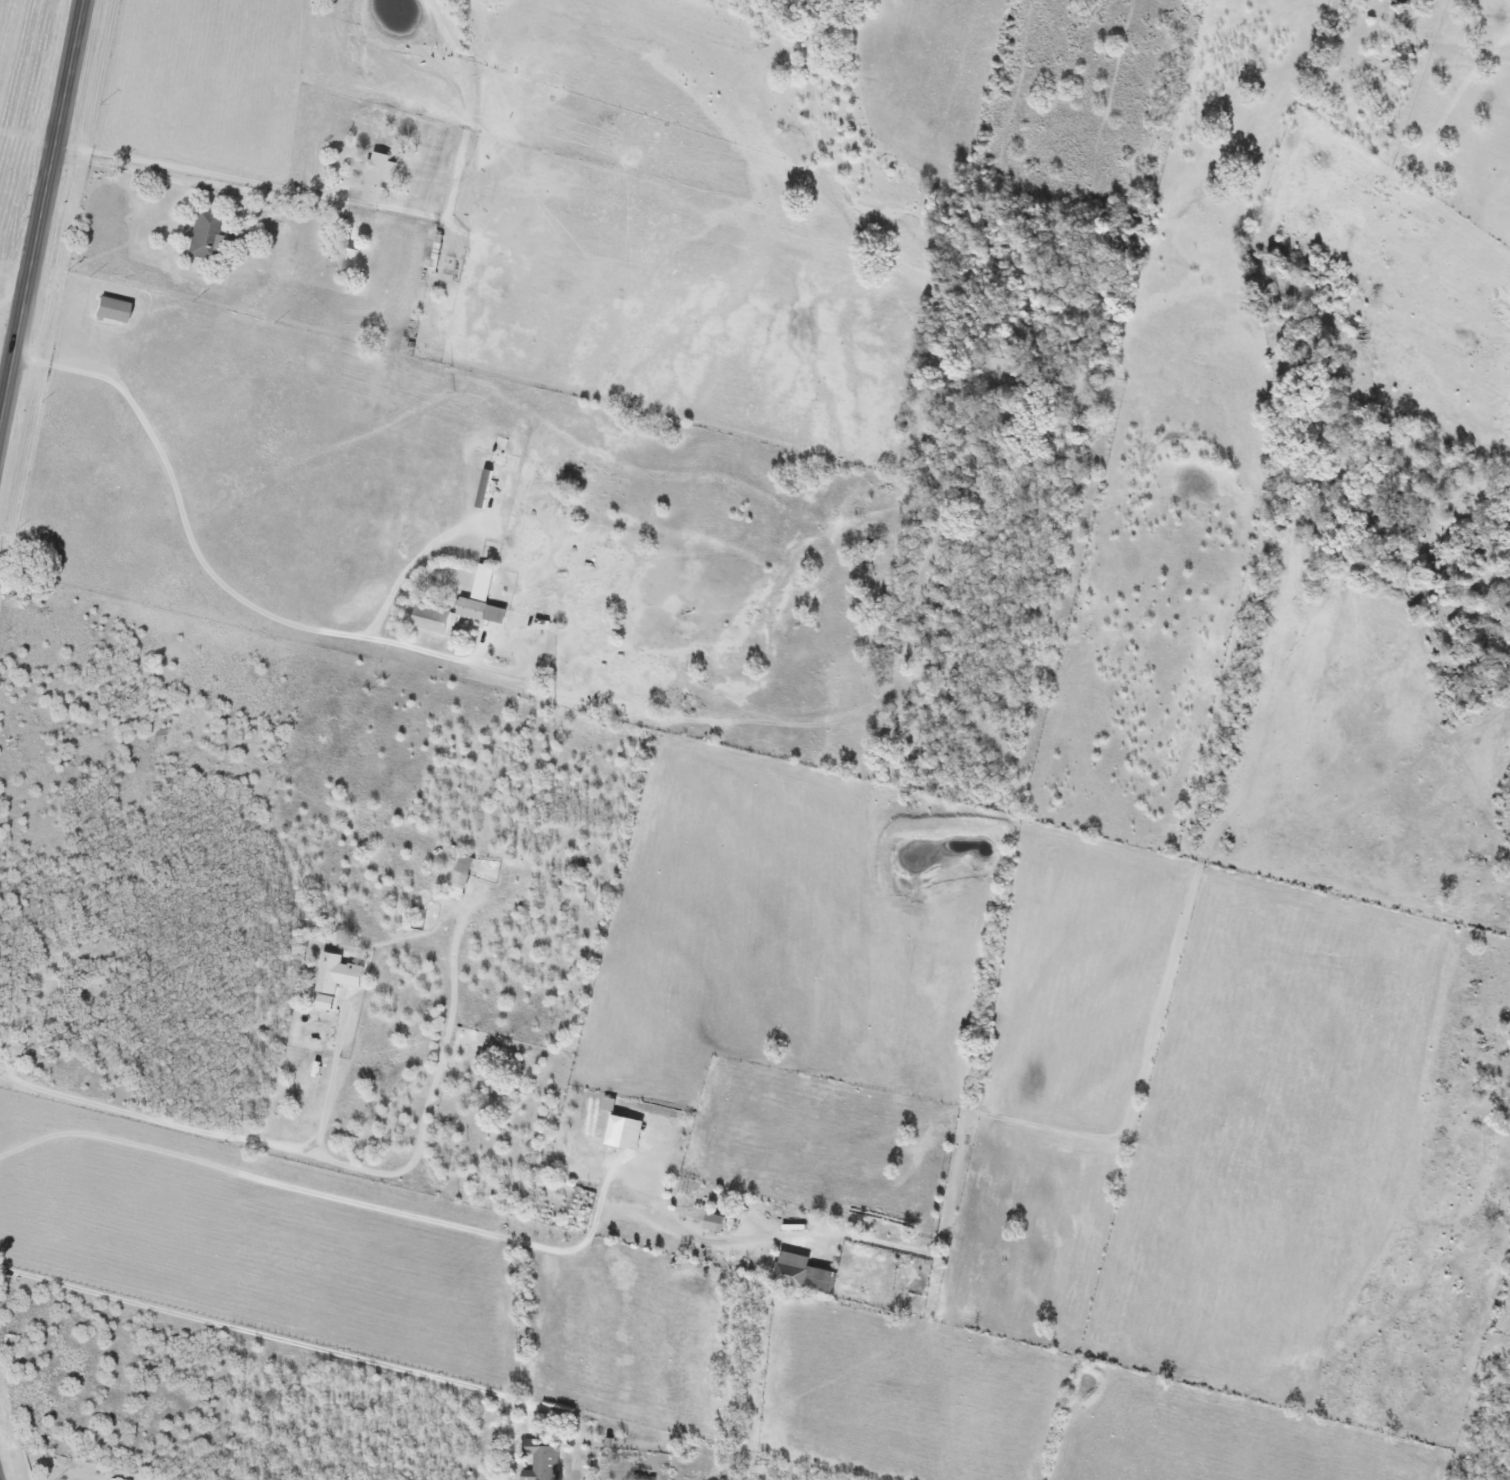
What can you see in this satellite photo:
road: (63, 97)
building: (381, 176)
road: (243, 180)
road: (199, 185)
building: (205, 236)
building: (349, 260)
building: (112, 309)
road: (11, 316)
road: (22, 317)
road: (3, 405)
road: (205, 566)
building: (485, 598)
building: (438, 620)
building: (463, 877)
building: (339, 974)
building: (327, 1003)
road: (435, 1094)
building: (612, 1105)
building: (629, 1133)
road: (223, 1135)
road: (328, 1196)
building: (717, 1222)
building: (797, 1267)
road: (265, 1336)
road: (0, 1479)

